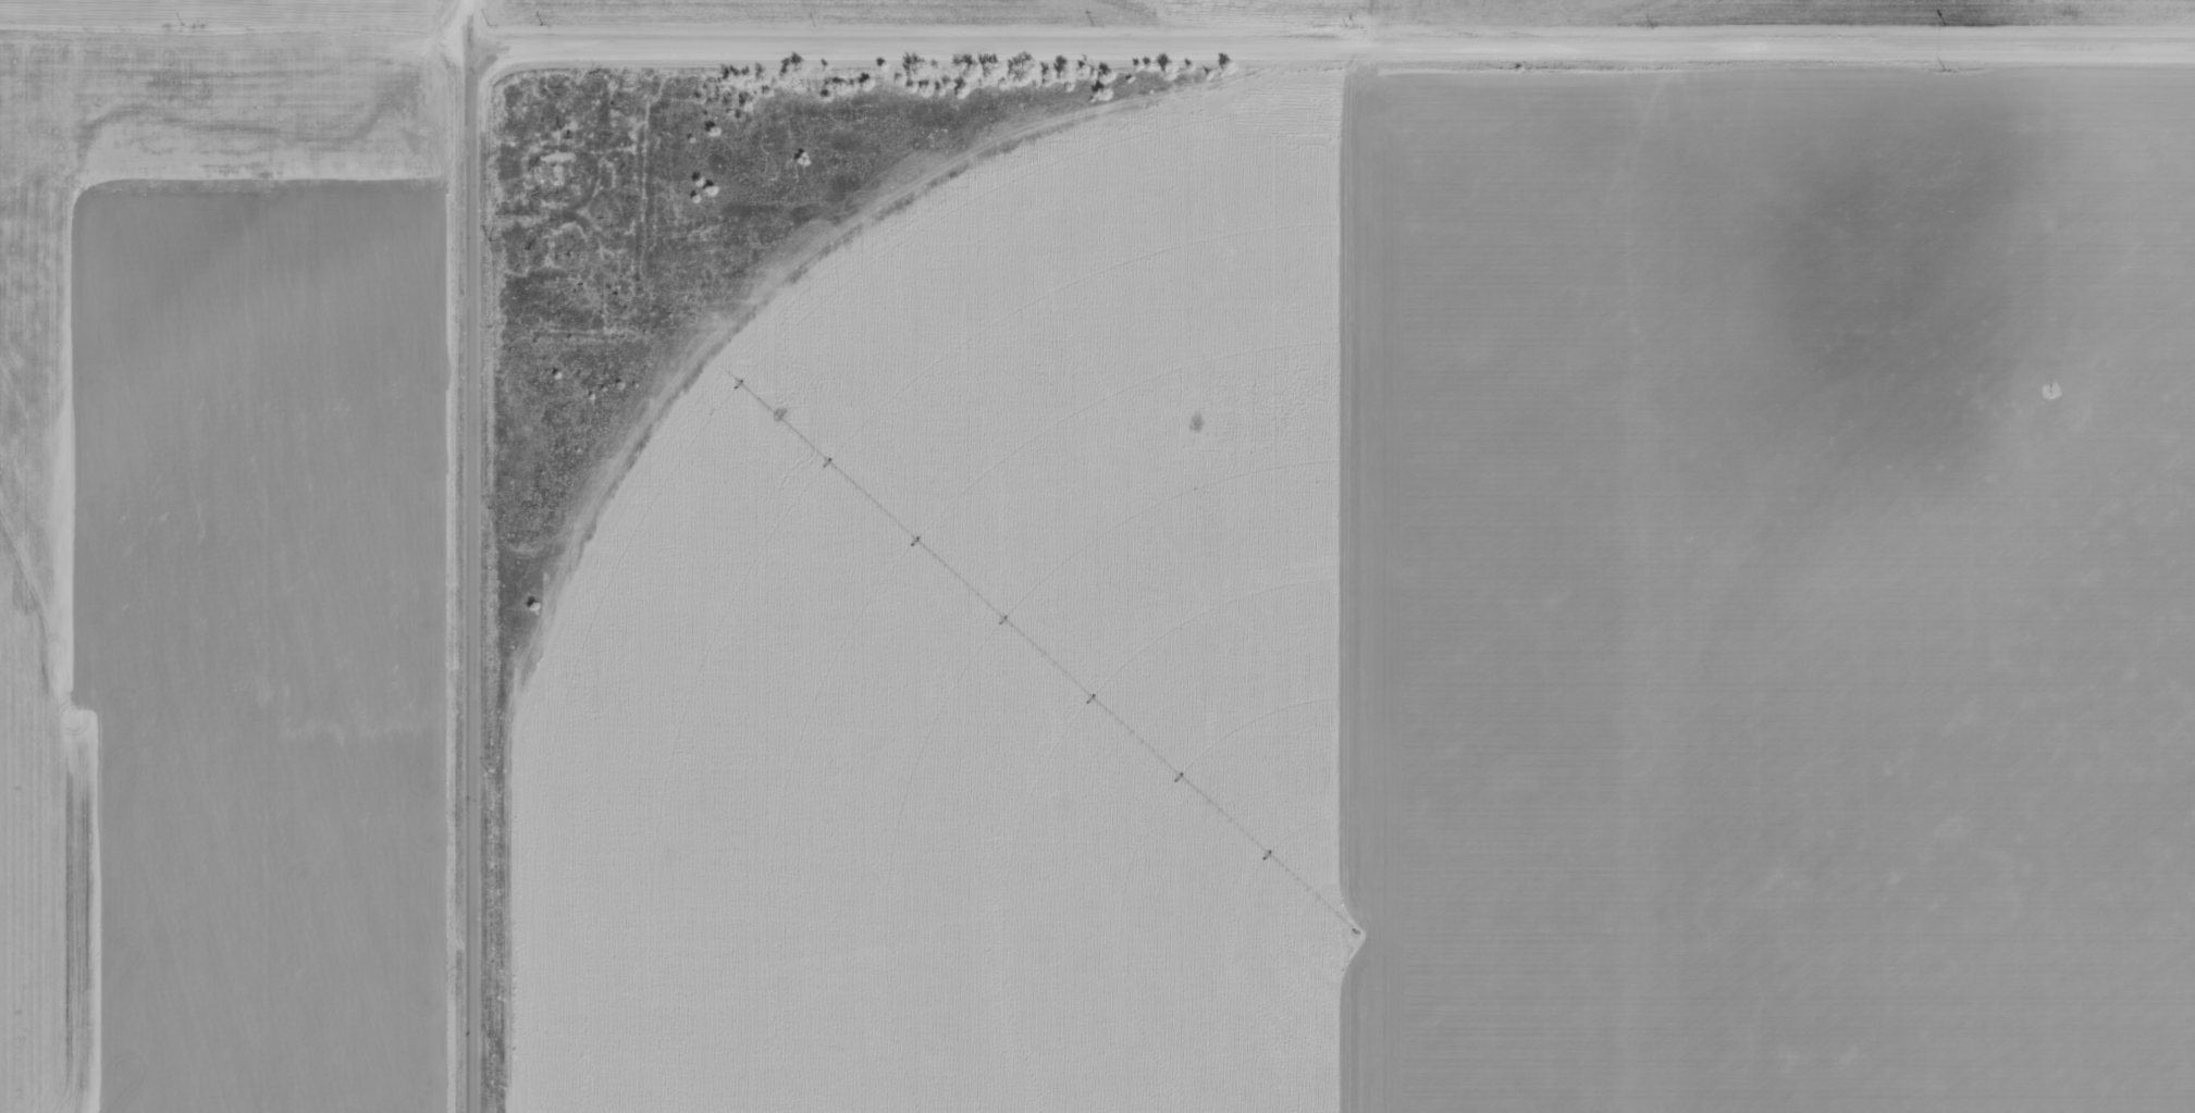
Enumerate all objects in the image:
road: (411, 3)
road: (553, 3)
road: (1607, 9)
road: (472, 556)

